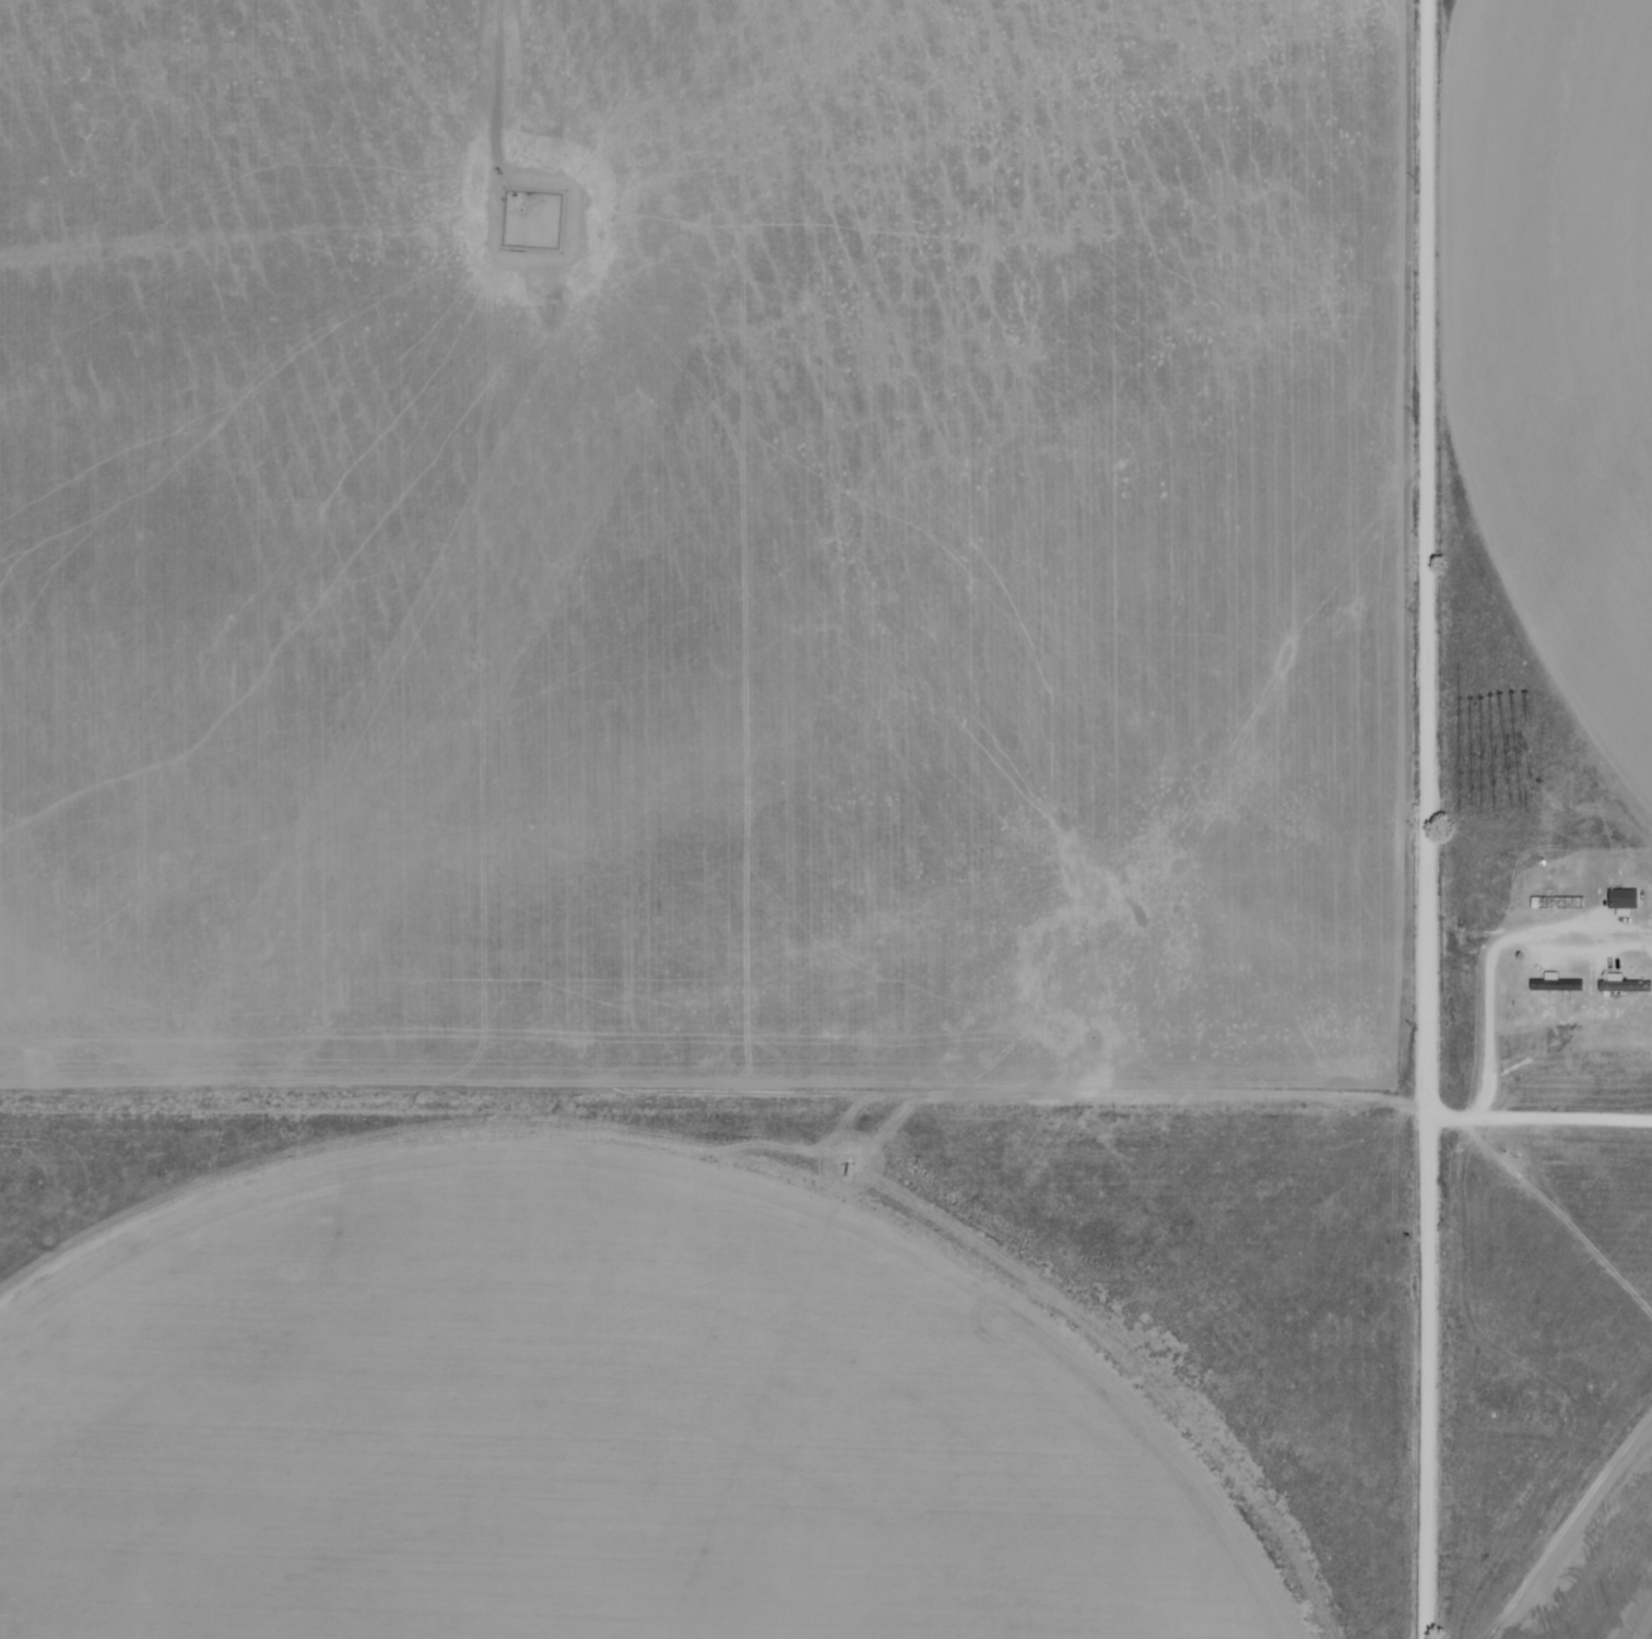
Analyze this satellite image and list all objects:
road: (1428, 819)
road: (1539, 944)
road: (1541, 1117)

